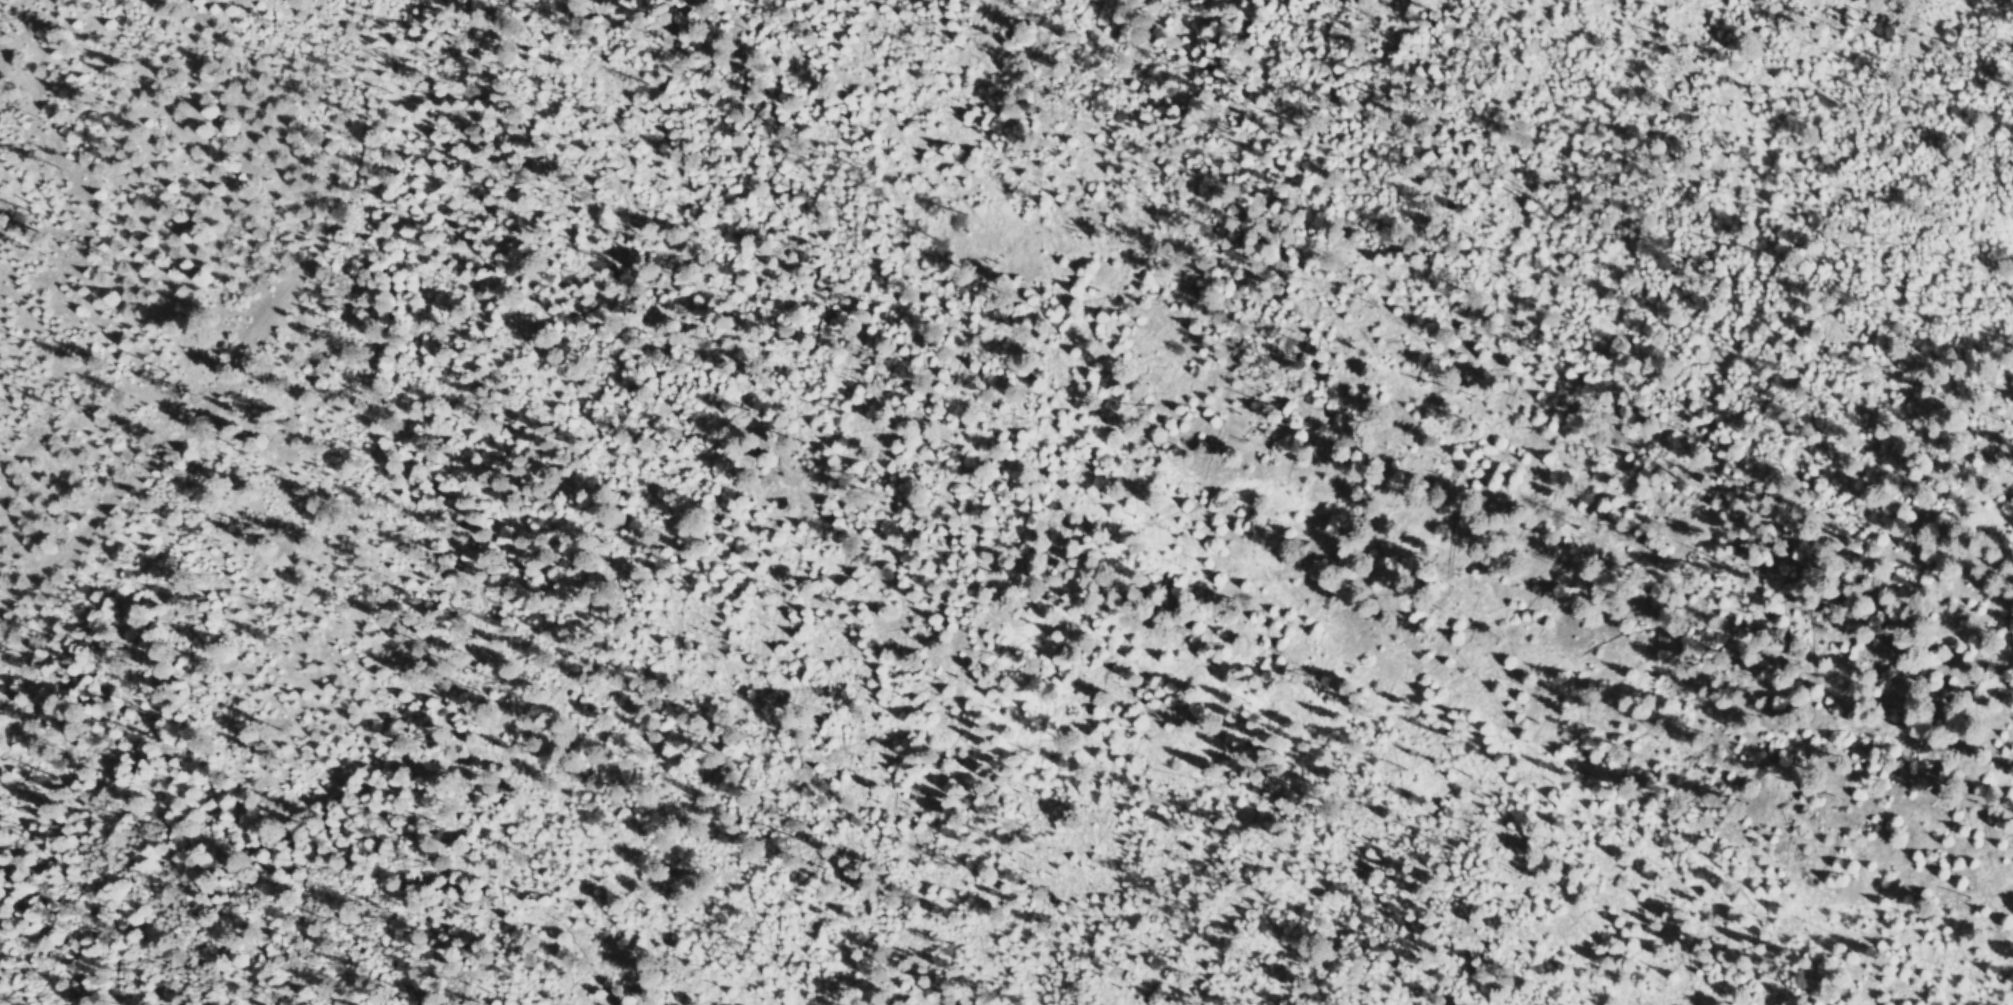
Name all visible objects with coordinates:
road: (223, 313)

